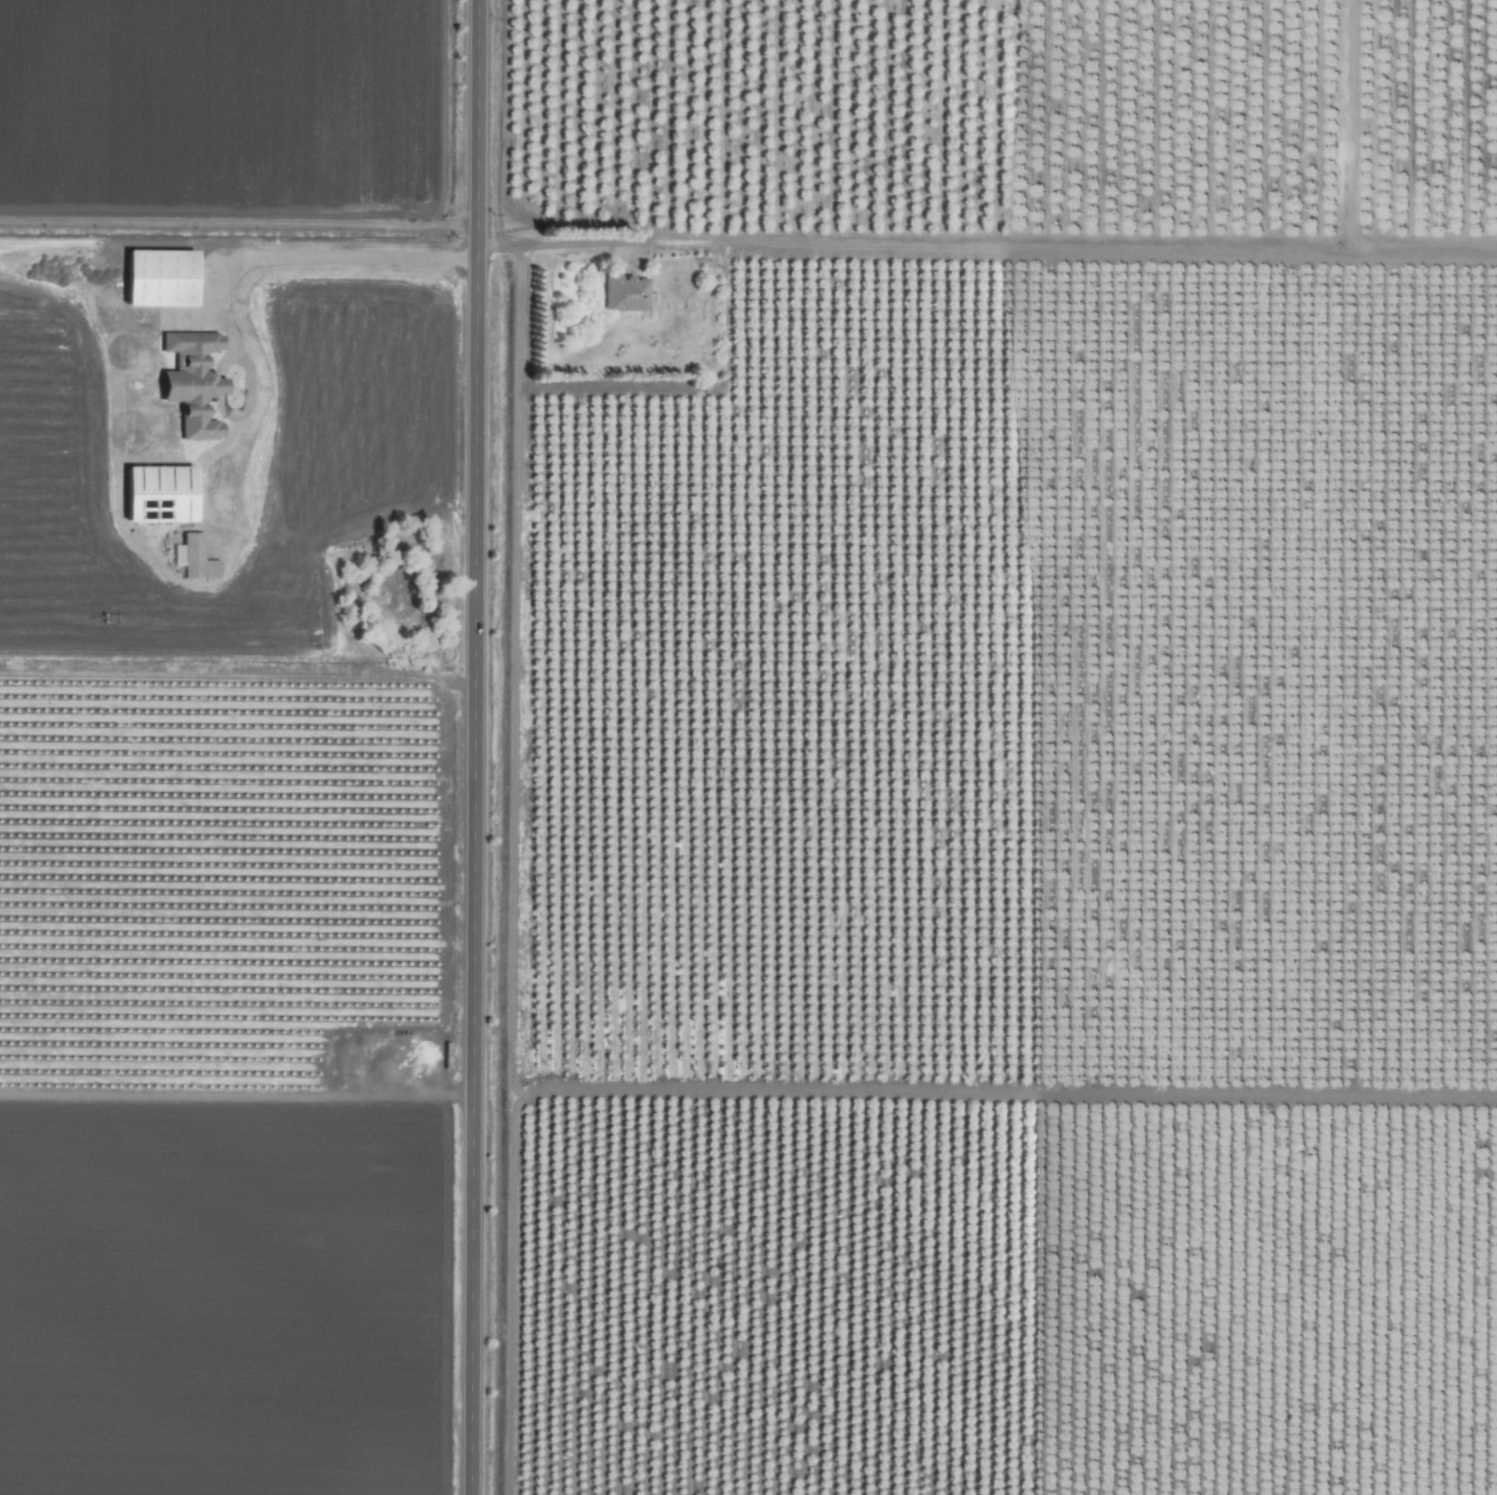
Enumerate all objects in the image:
road: (1351, 124)
road: (988, 244)
road: (239, 253)
building: (159, 277)
building: (625, 292)
building: (174, 338)
building: (193, 385)
road: (247, 396)
building: (159, 493)
building: (193, 557)
road: (479, 747)

